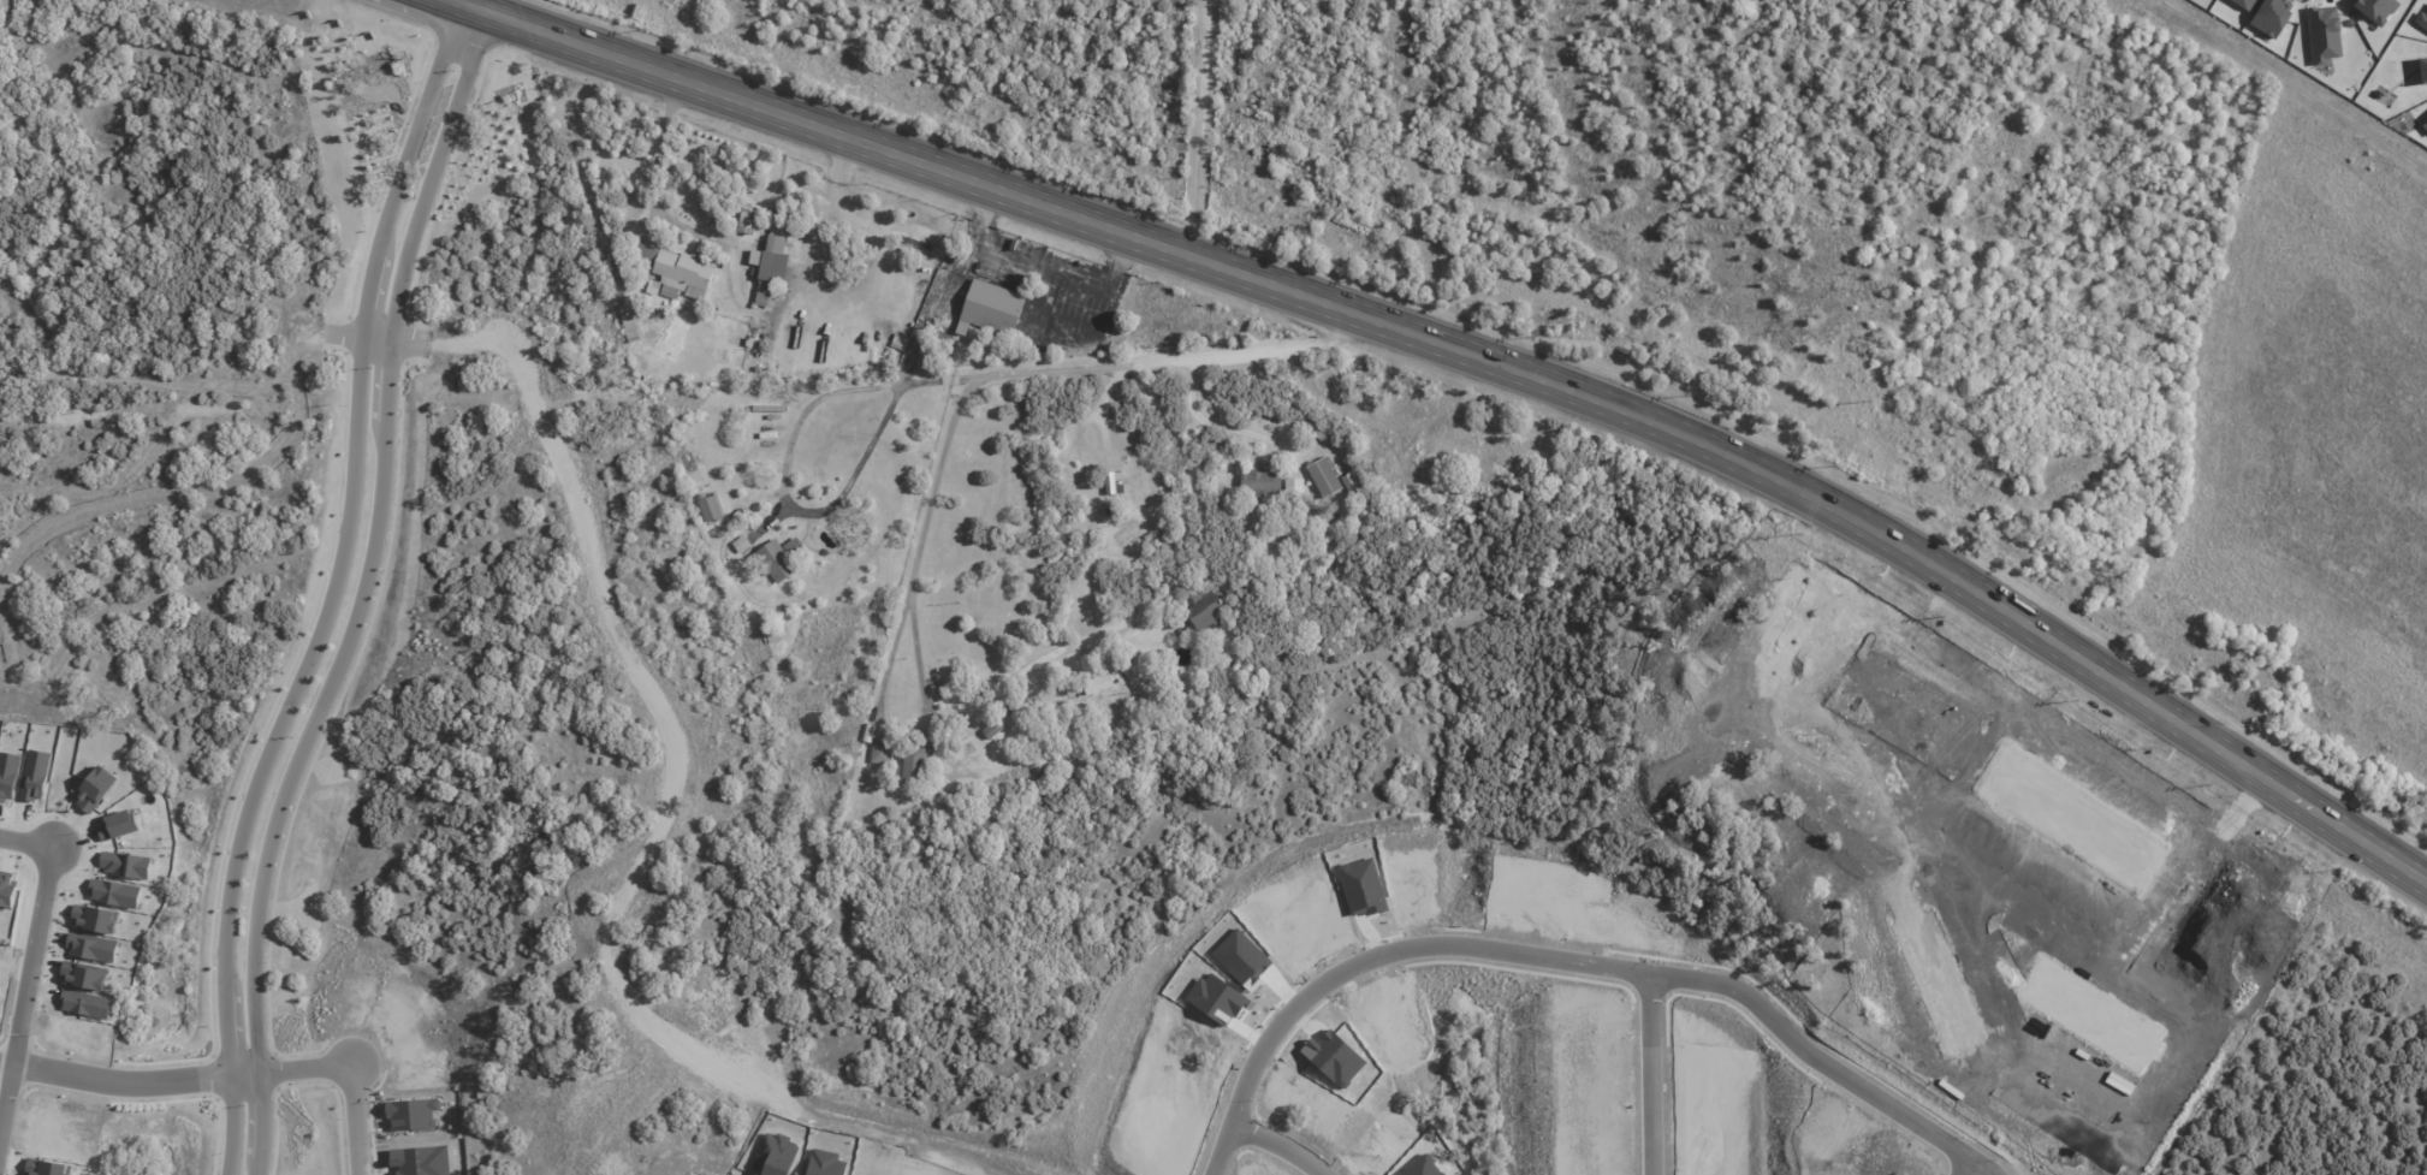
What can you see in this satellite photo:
building: (2244, 4)
road: (479, 5)
building: (2375, 10)
road: (508, 11)
building: (2271, 16)
building: (2421, 20)
building: (2322, 34)
building: (2422, 70)
building: (2425, 125)
road: (1200, 129)
road: (824, 219)
building: (770, 262)
road: (1042, 267)
building: (673, 268)
building: (918, 297)
building: (990, 310)
building: (629, 327)
road: (376, 339)
road: (1476, 357)
road: (1162, 360)
road: (1100, 410)
road: (1218, 427)
road: (208, 450)
road: (785, 473)
building: (1324, 477)
building: (1111, 481)
building: (1260, 482)
building: (1294, 485)
building: (1351, 485)
building: (710, 508)
building: (779, 558)
road: (330, 589)
road: (356, 593)
building: (1204, 607)
road: (1009, 682)
building: (1098, 684)
road: (623, 705)
building: (1911, 719)
building: (1001, 722)
building: (880, 754)
building: (913, 765)
building: (8, 776)
building: (35, 776)
building: (95, 789)
building: (2077, 820)
building: (118, 825)
building: (126, 865)
building: (7, 891)
building: (114, 894)
road: (831, 895)
building: (95, 919)
building: (93, 948)
road: (1566, 956)
road: (31, 967)
building: (85, 1004)
building: (2090, 1014)
road: (1654, 1073)
road: (354, 1074)
road: (130, 1084)
road: (1280, 1144)

